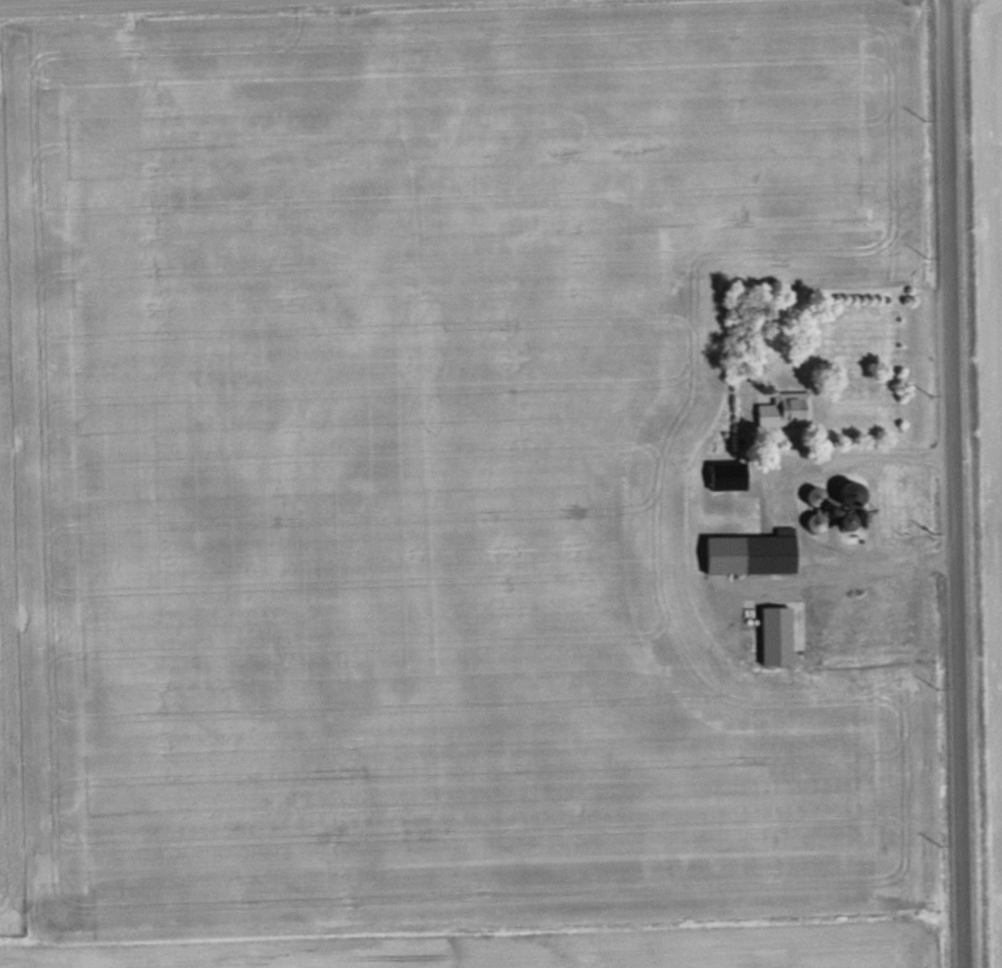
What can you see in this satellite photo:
road: (84, 2)
building: (782, 408)
road: (950, 484)
building: (850, 492)
building: (814, 495)
building: (816, 519)
building: (846, 519)
building: (769, 551)

